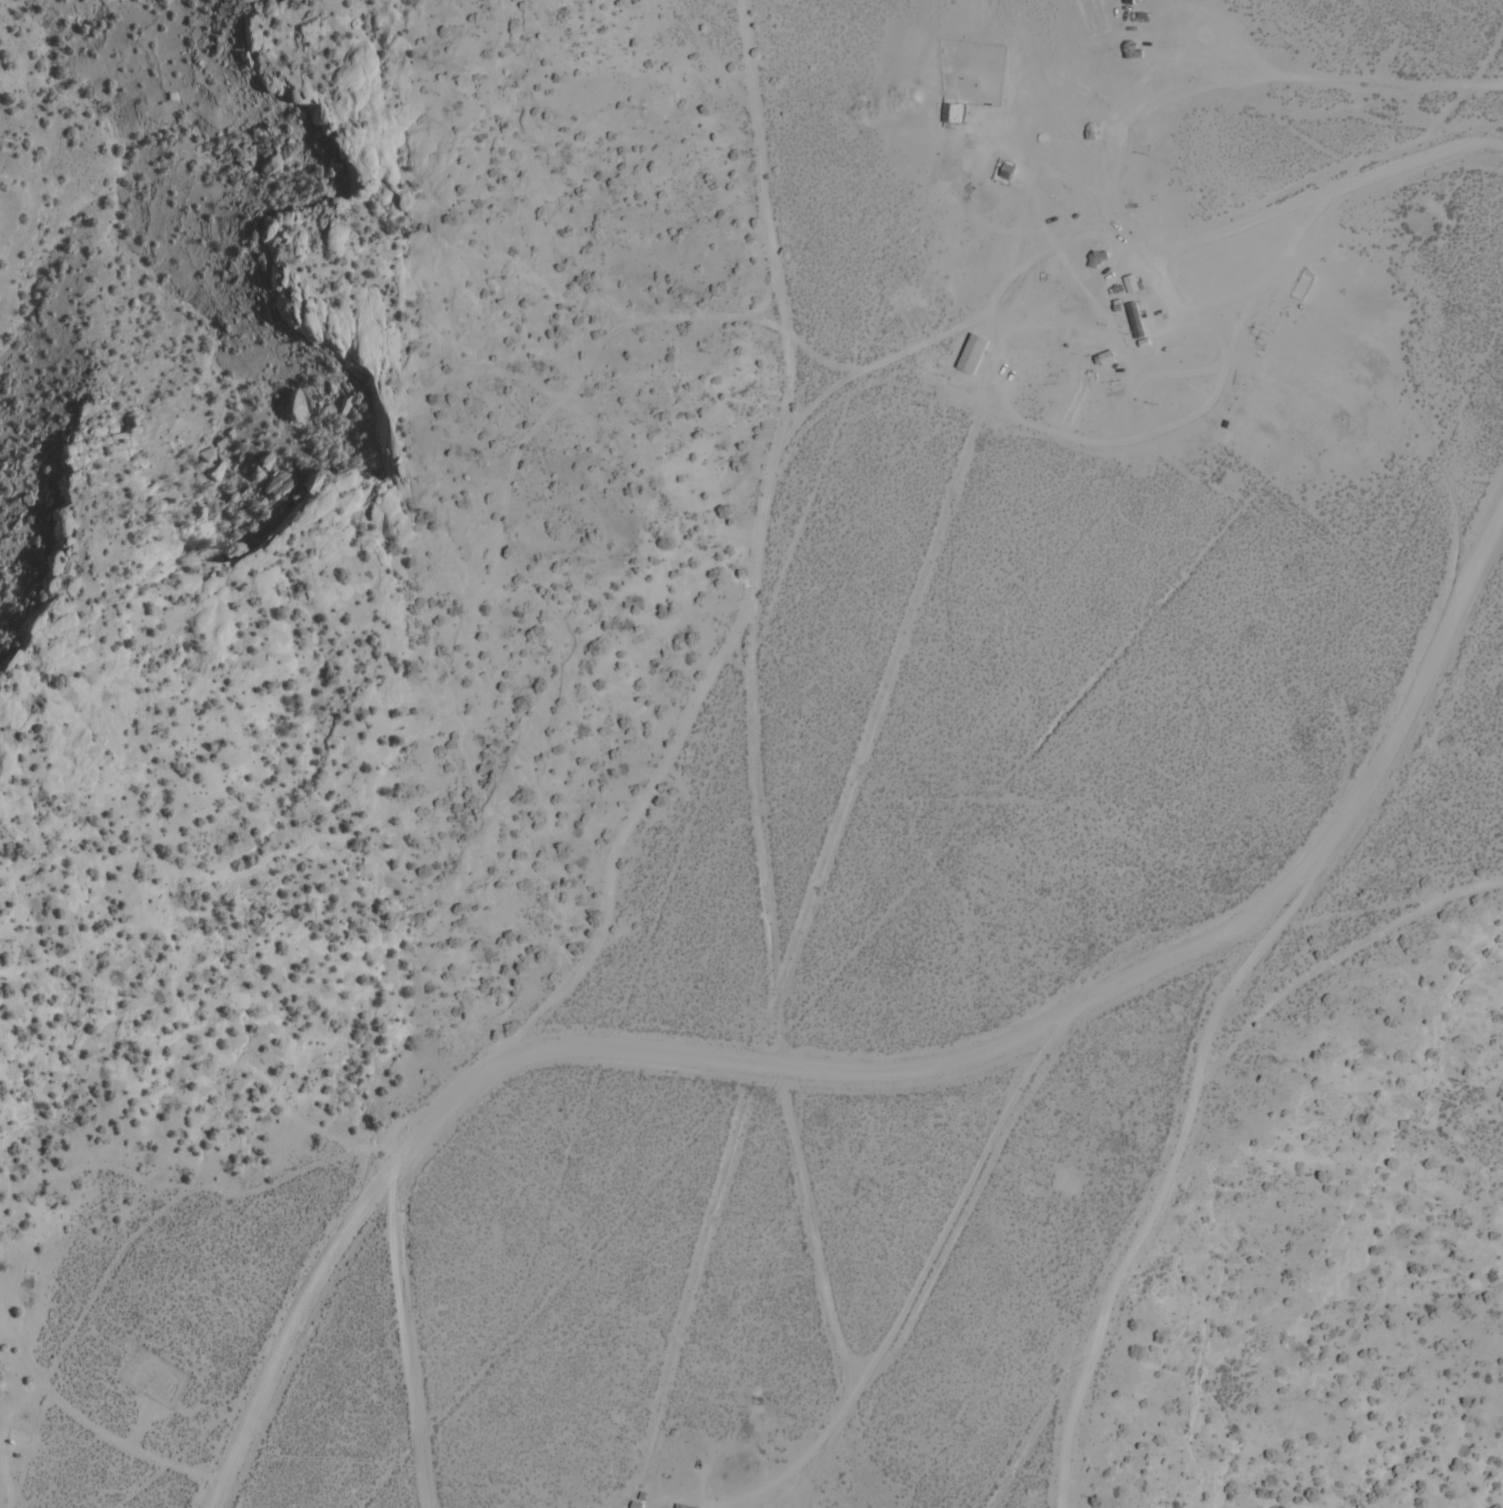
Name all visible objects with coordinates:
road: (1074, 30)
building: (1129, 51)
road: (1488, 55)
road: (1252, 78)
building: (949, 113)
road: (1036, 157)
road: (1302, 199)
building: (1128, 284)
building: (1132, 320)
road: (942, 332)
building: (1103, 358)
road: (823, 360)
building: (957, 365)
road: (751, 701)
road: (1341, 953)
road: (511, 1038)
road: (853, 1072)
road: (1175, 1153)
road: (807, 1459)
building: (680, 1507)

